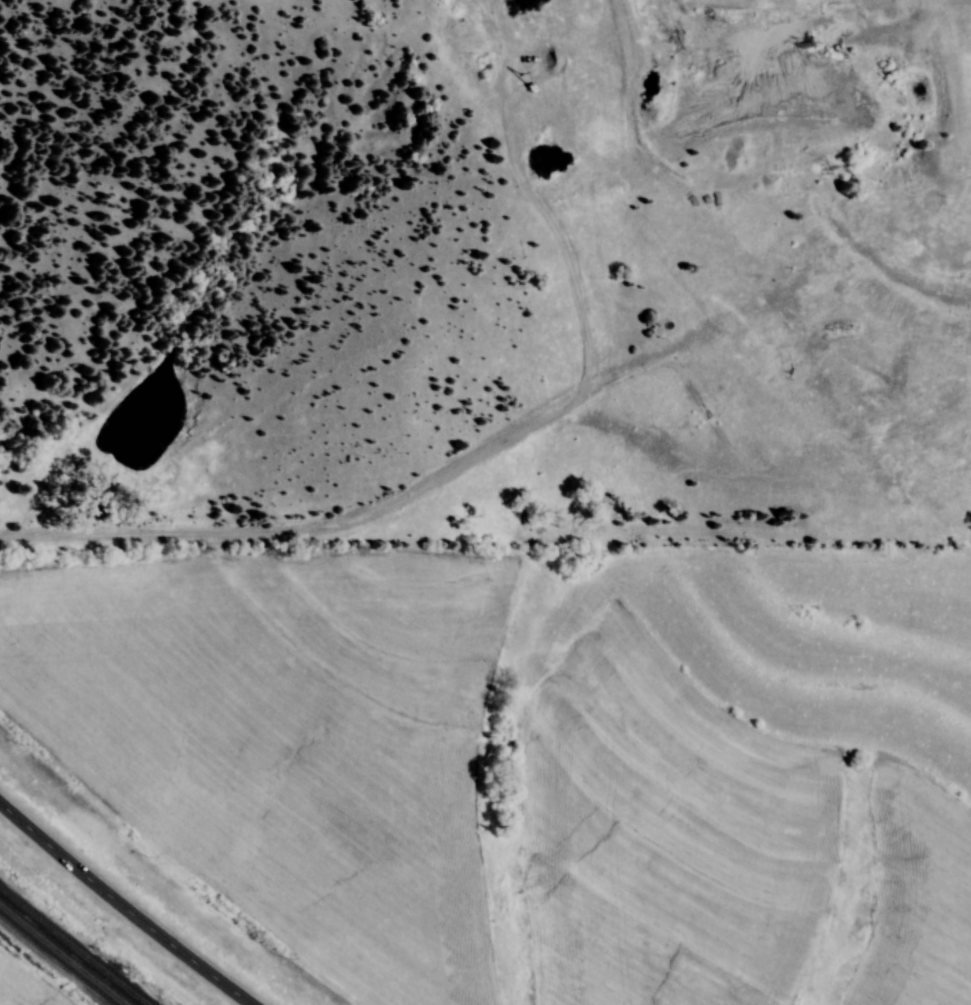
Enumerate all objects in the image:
road: (121, 909)
railway: (73, 946)
railway: (63, 955)

